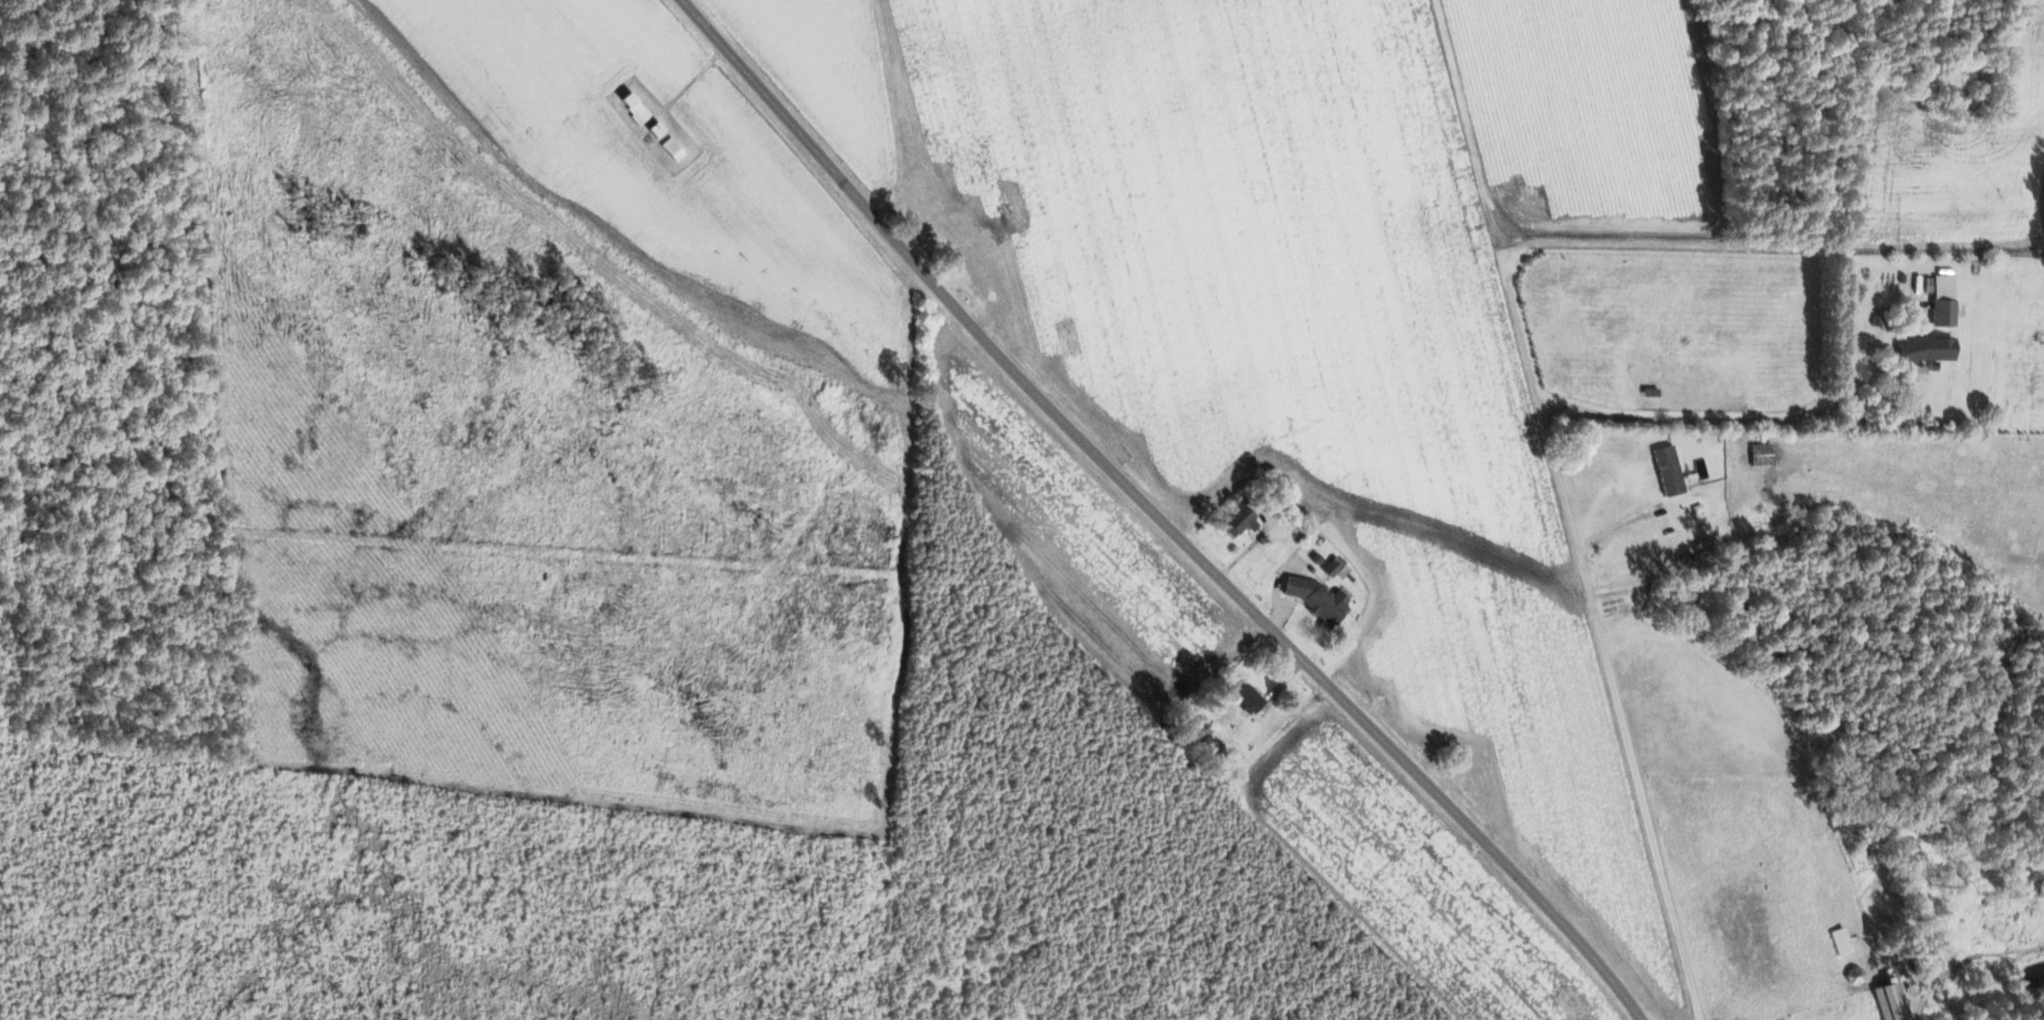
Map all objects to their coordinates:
building: (631, 108)
building: (651, 130)
building: (671, 151)
building: (908, 162)
building: (1941, 314)
building: (1882, 325)
building: (1856, 357)
building: (1913, 375)
building: (1665, 471)
road: (1154, 510)
road: (1572, 522)
building: (1238, 523)
building: (1315, 601)
building: (1244, 696)
building: (2021, 938)
building: (1853, 977)
building: (1888, 1002)

